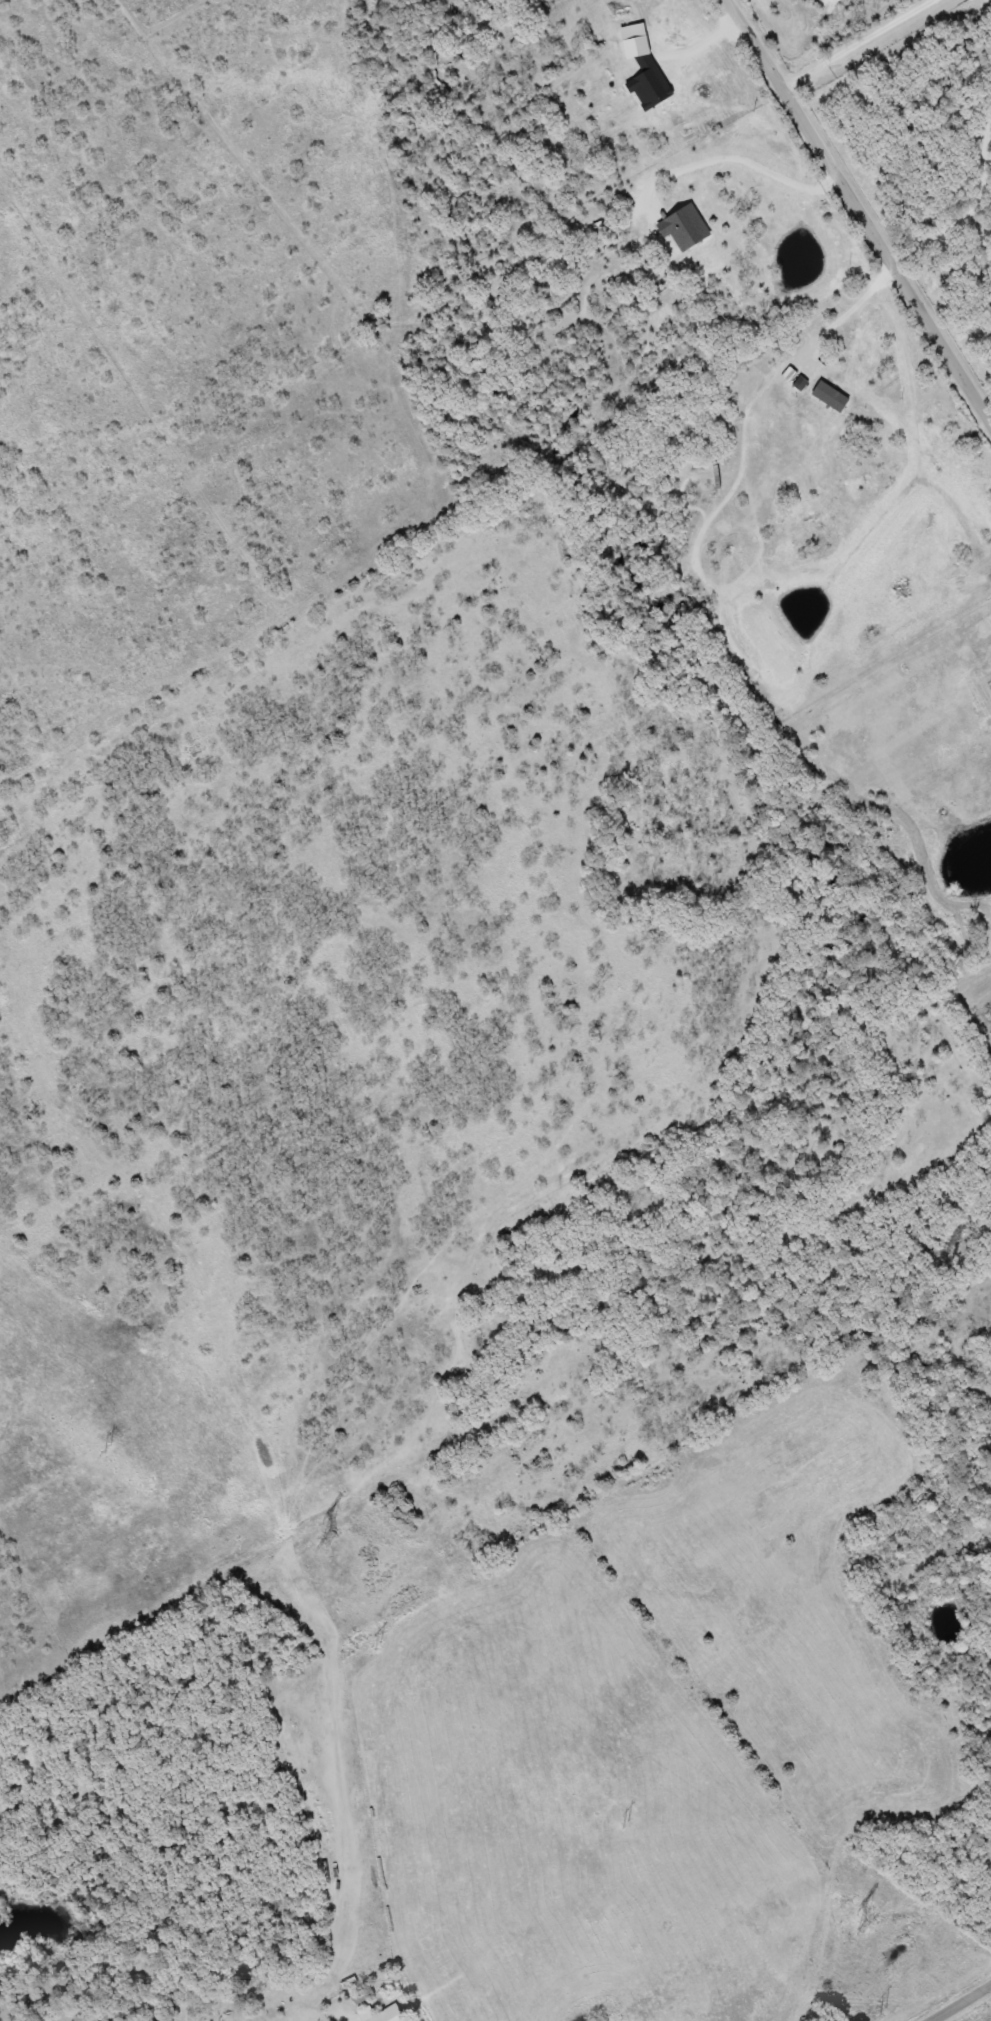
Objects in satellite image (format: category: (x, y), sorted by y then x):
road: (910, 105)
road: (859, 207)
power tower: (109, 1449)
power tower: (331, 1538)
power tower: (379, 1643)
power tower: (627, 1824)
power tower: (864, 1926)
building: (362, 1994)
road: (962, 2003)
power tower: (885, 2011)
building: (382, 2014)

